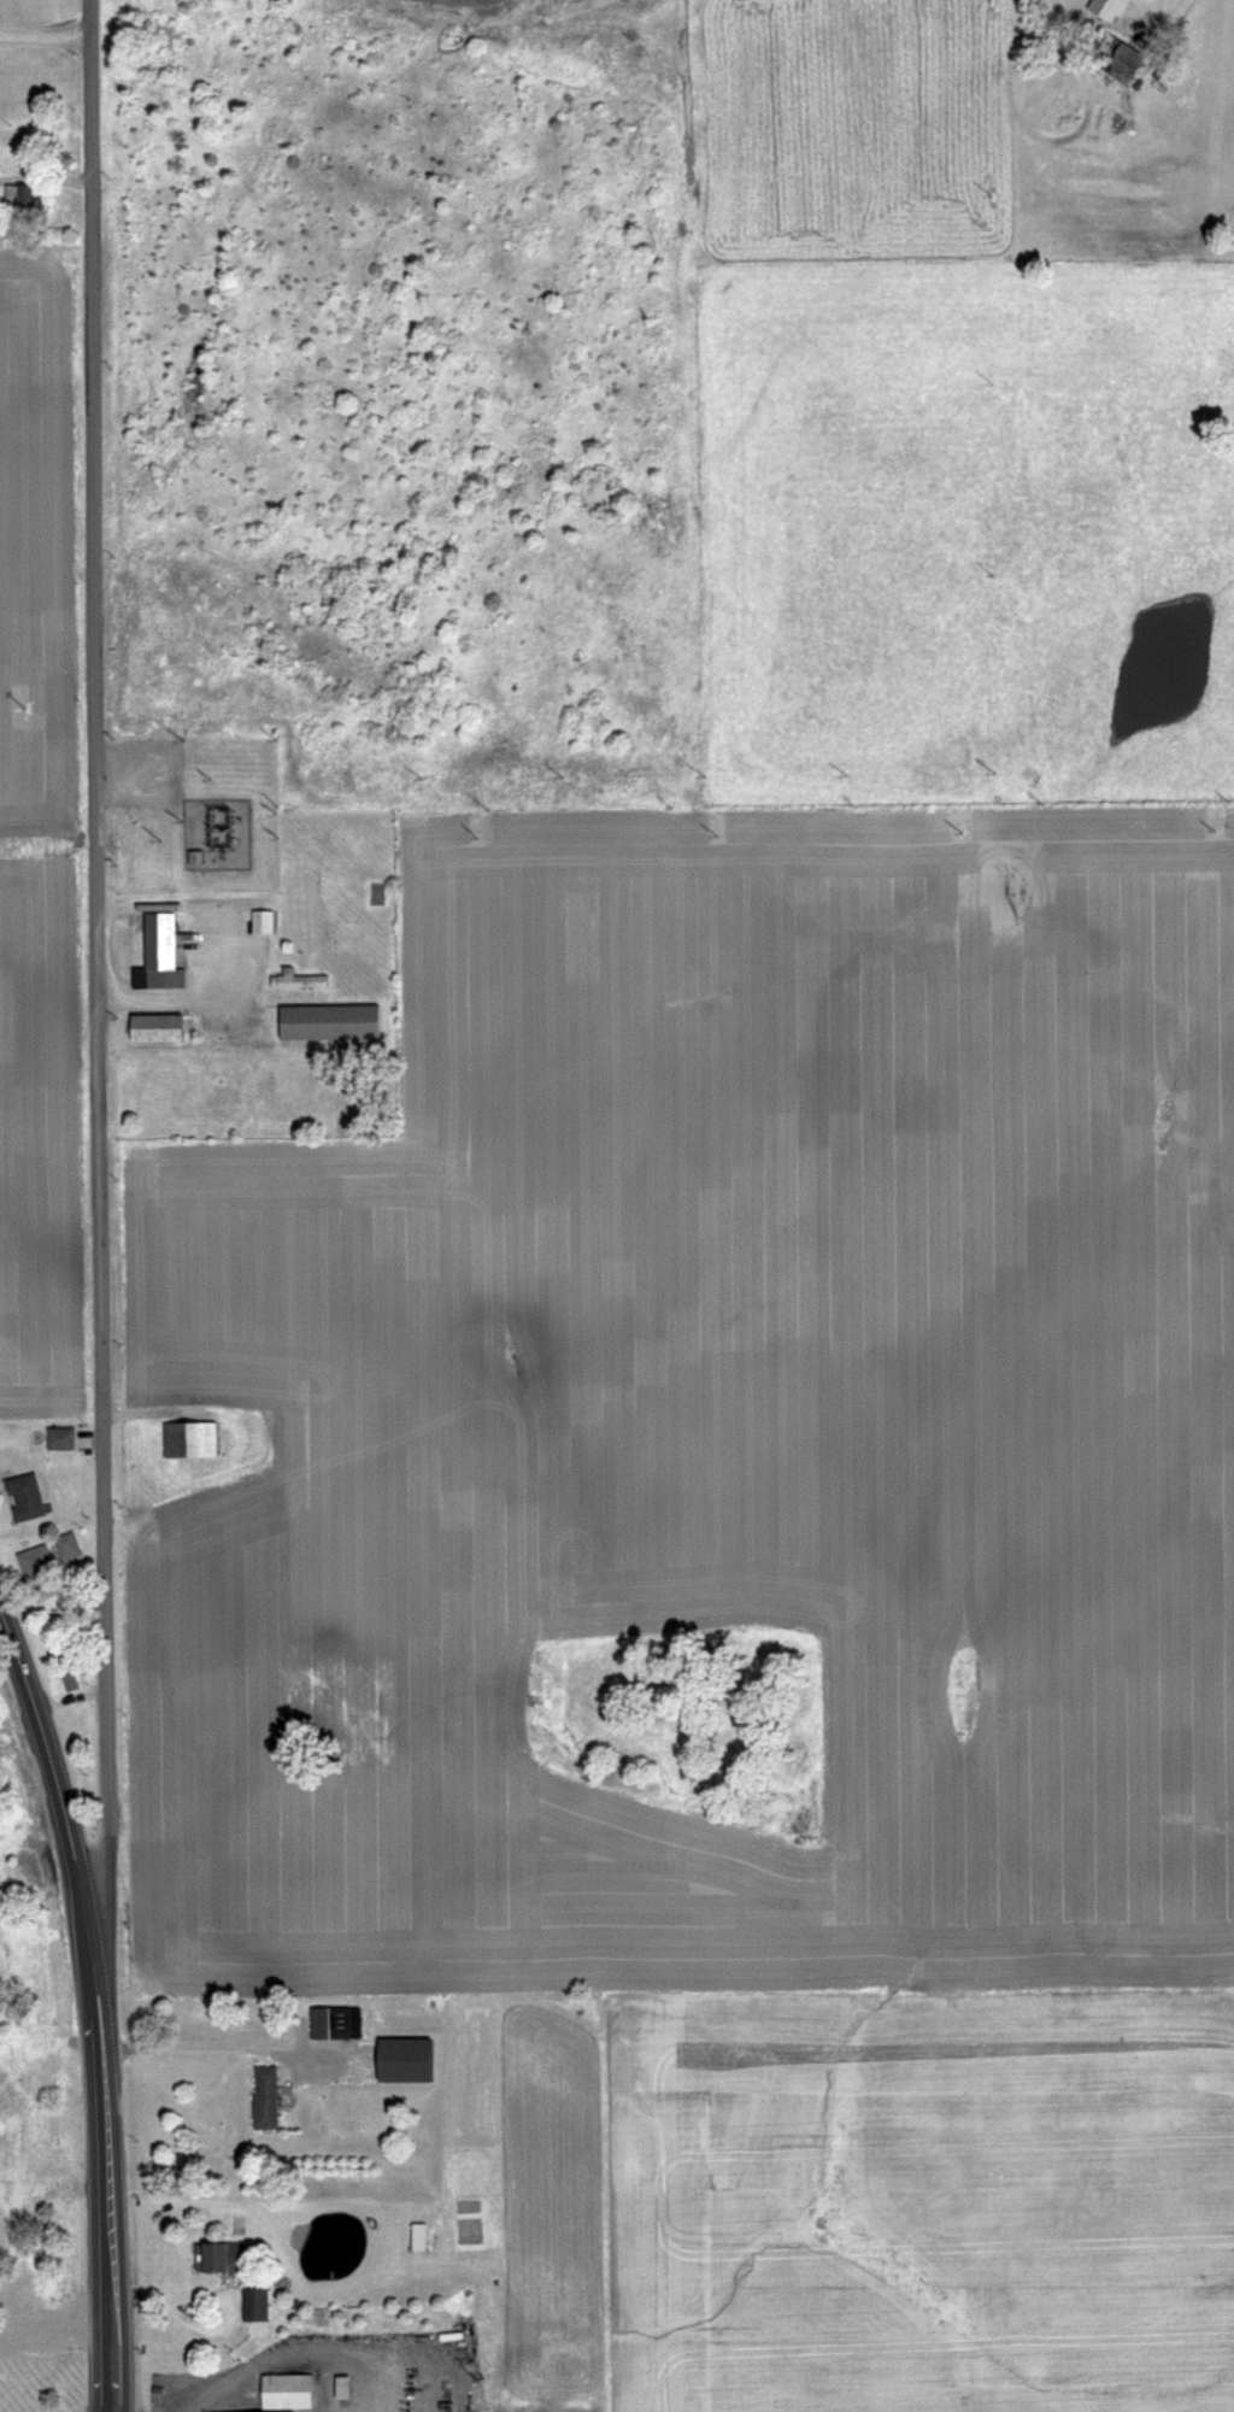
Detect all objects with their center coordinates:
road: (43, 35)
building: (1118, 55)
building: (20, 200)
crop: (53, 776)
building: (259, 920)
building: (160, 946)
building: (295, 980)
road: (192, 992)
road: (95, 1008)
building: (329, 1014)
building: (157, 1017)
crop: (771, 1178)
building: (58, 1438)
building: (189, 1440)
building: (23, 1498)
building: (65, 1547)
building: (36, 1565)
building: (67, 1679)
road: (61, 1818)
building: (0, 1968)
building: (333, 2020)
road: (206, 2046)
building: (404, 2058)
building: (2, 2078)
building: (264, 2099)
crop: (847, 2197)
building: (10, 2201)
road: (107, 2213)
building: (413, 2236)
building: (218, 2257)
building: (12, 2300)
building: (251, 2304)
building: (284, 2390)

